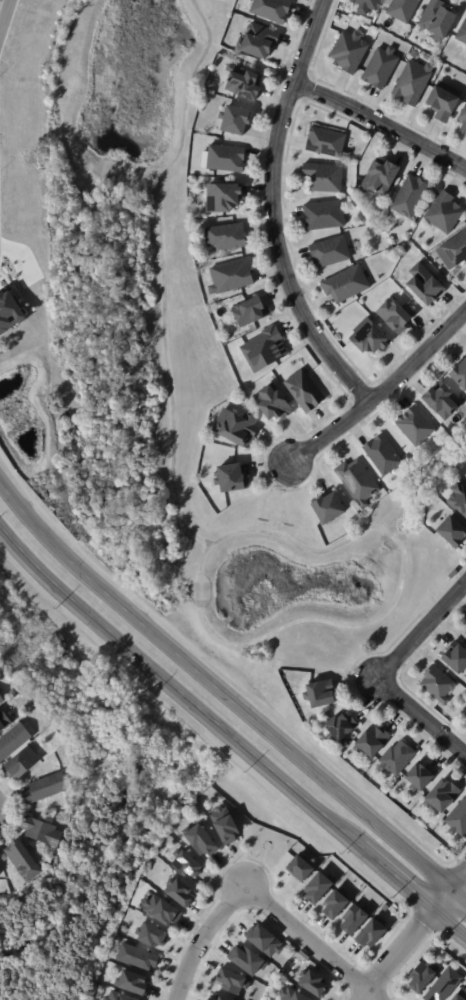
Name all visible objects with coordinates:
building: (51, 2)
building: (365, 5)
building: (273, 9)
building: (402, 9)
road: (4, 12)
building: (437, 20)
building: (461, 33)
building: (260, 38)
building: (413, 51)
building: (348, 52)
building: (379, 68)
building: (245, 83)
building: (412, 83)
building: (441, 104)
building: (462, 117)
building: (237, 120)
road: (381, 126)
building: (465, 135)
building: (324, 141)
road: (78, 159)
building: (228, 159)
building: (323, 176)
building: (379, 176)
building: (225, 197)
building: (409, 197)
road: (272, 210)
building: (443, 214)
building: (322, 215)
building: (364, 220)
building: (228, 237)
building: (453, 251)
building: (328, 252)
road: (163, 273)
building: (233, 276)
building: (344, 285)
building: (423, 285)
building: (9, 311)
building: (252, 312)
building: (393, 315)
building: (367, 336)
building: (266, 350)
park: (168, 373)
building: (458, 374)
building: (305, 391)
road: (380, 392)
building: (440, 401)
building: (274, 404)
building: (414, 425)
building: (237, 428)
building: (381, 455)
building: (231, 478)
building: (357, 482)
building: (457, 499)
building: (326, 508)
building: (451, 532)
building: (452, 574)
road: (421, 630)
building: (465, 632)
building: (465, 633)
road: (216, 639)
building: (454, 657)
building: (436, 684)
building: (320, 693)
road: (227, 698)
building: (2, 700)
building: (465, 714)
road: (421, 716)
building: (4, 723)
building: (337, 728)
road: (229, 734)
building: (370, 741)
building: (14, 742)
building: (395, 759)
building: (23, 764)
building: (418, 778)
building: (46, 790)
building: (439, 796)
building: (457, 820)
building: (227, 826)
building: (45, 832)
building: (202, 840)
building: (25, 861)
building: (188, 865)
building: (300, 867)
building: (320, 888)
building: (182, 893)
road: (260, 893)
building: (336, 904)
building: (164, 911)
building: (353, 919)
building: (374, 934)
building: (152, 935)
road: (415, 935)
building: (263, 939)
building: (137, 956)
building: (247, 959)
building: (422, 976)
building: (232, 981)
building: (132, 982)
building: (313, 982)
building: (443, 985)
building: (292, 994)
building: (459, 995)
building: (118, 996)
building: (225, 998)
building: (212, 999)

